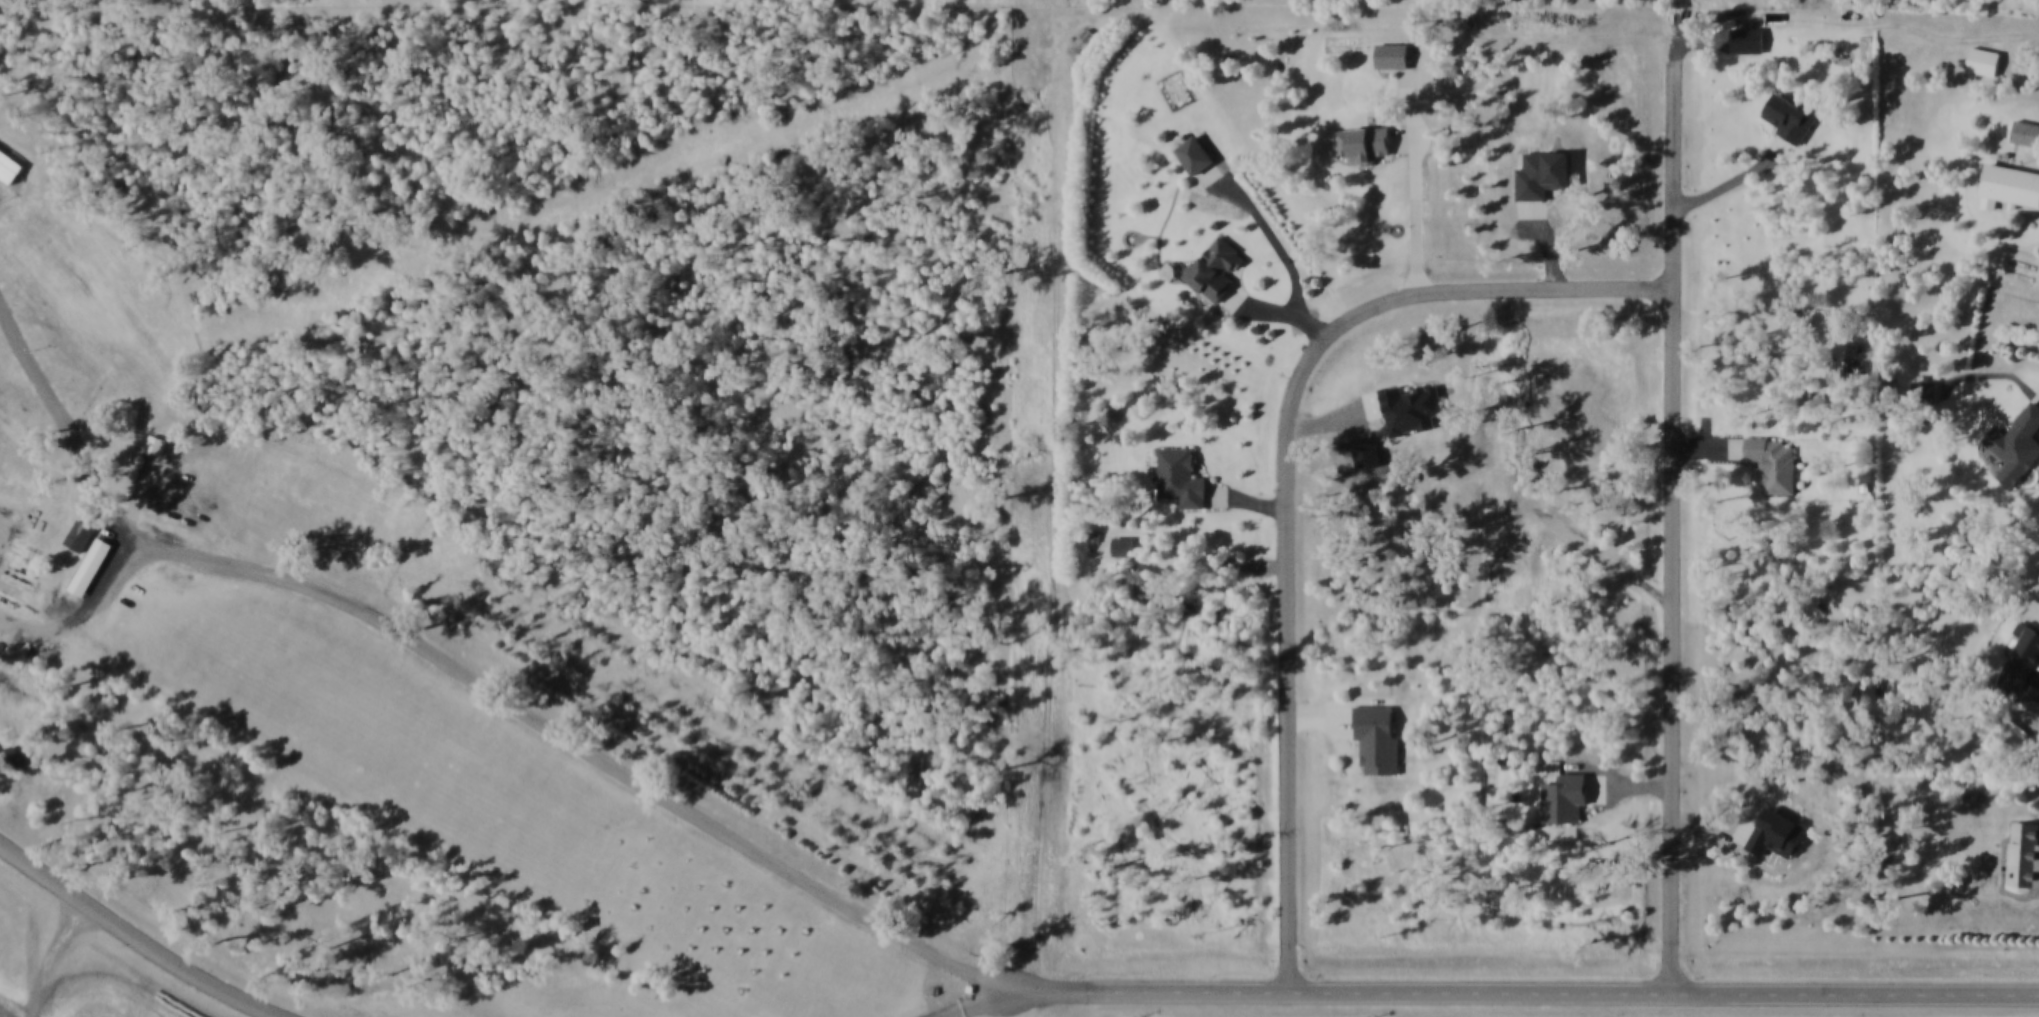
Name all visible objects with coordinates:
road: (1851, 24)
building: (1749, 40)
building: (1394, 55)
building: (1987, 61)
road: (1408, 103)
building: (1793, 118)
building: (2027, 133)
building: (1365, 144)
building: (1196, 154)
building: (10, 162)
road: (1737, 180)
building: (2013, 183)
road: (1417, 202)
road: (1268, 230)
road: (432, 252)
building: (1218, 267)
road: (1277, 309)
road: (1991, 377)
building: (1929, 391)
building: (1413, 409)
road: (1335, 422)
road: (1706, 434)
building: (157, 443)
building: (2019, 446)
road: (1710, 450)
building: (1776, 463)
building: (1181, 480)
road: (1287, 480)
building: (185, 489)
road: (1247, 500)
road: (1673, 512)
building: (80, 533)
building: (1124, 546)
road: (1604, 557)
road: (1211, 559)
building: (92, 562)
building: (2025, 661)
road: (1359, 702)
road: (1321, 720)
road: (546, 723)
building: (1379, 740)
building: (12, 745)
road: (1631, 790)
building: (1567, 799)
road: (1716, 823)
building: (1780, 835)
building: (2026, 857)
road: (137, 939)
road: (31, 947)
road: (1516, 995)
road: (970, 1009)

